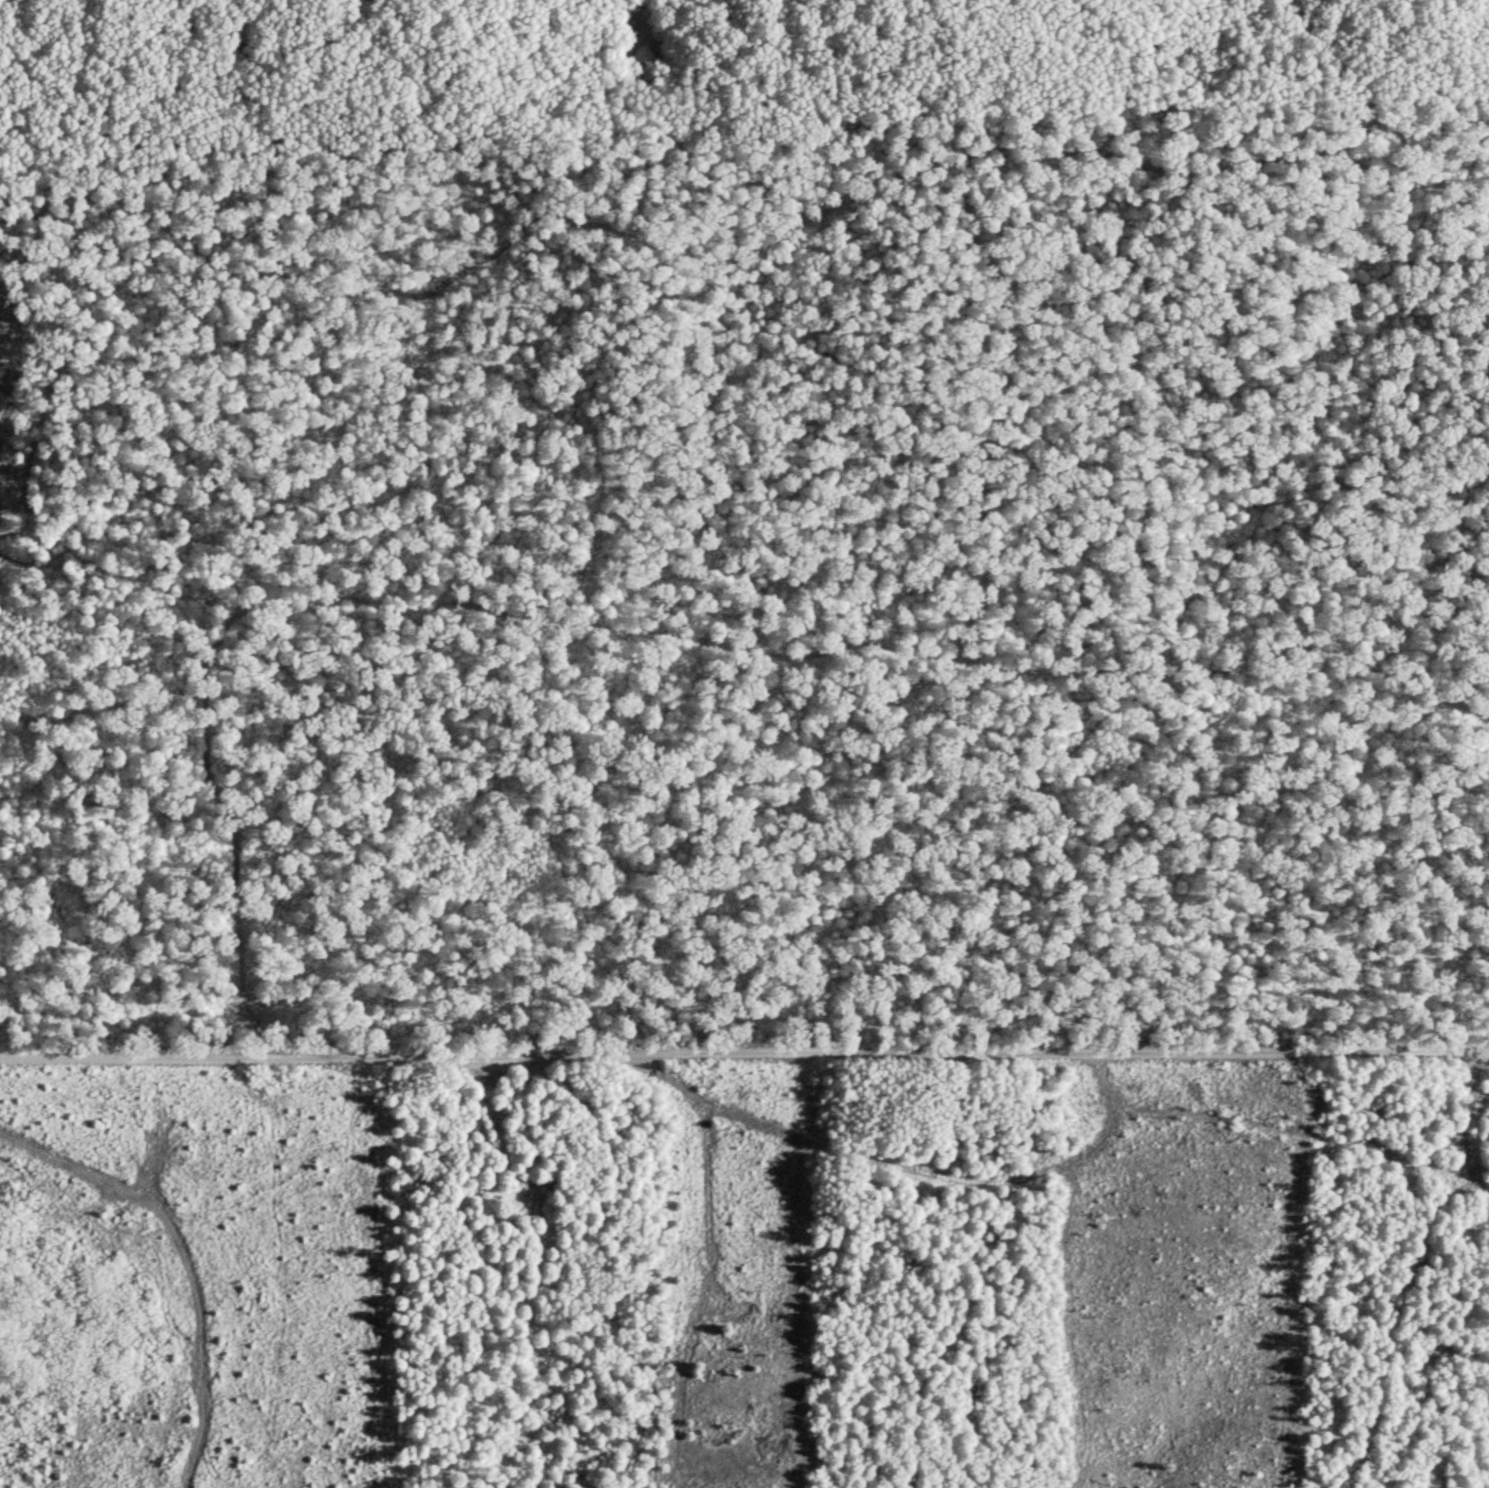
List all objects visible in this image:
road: (744, 1055)

